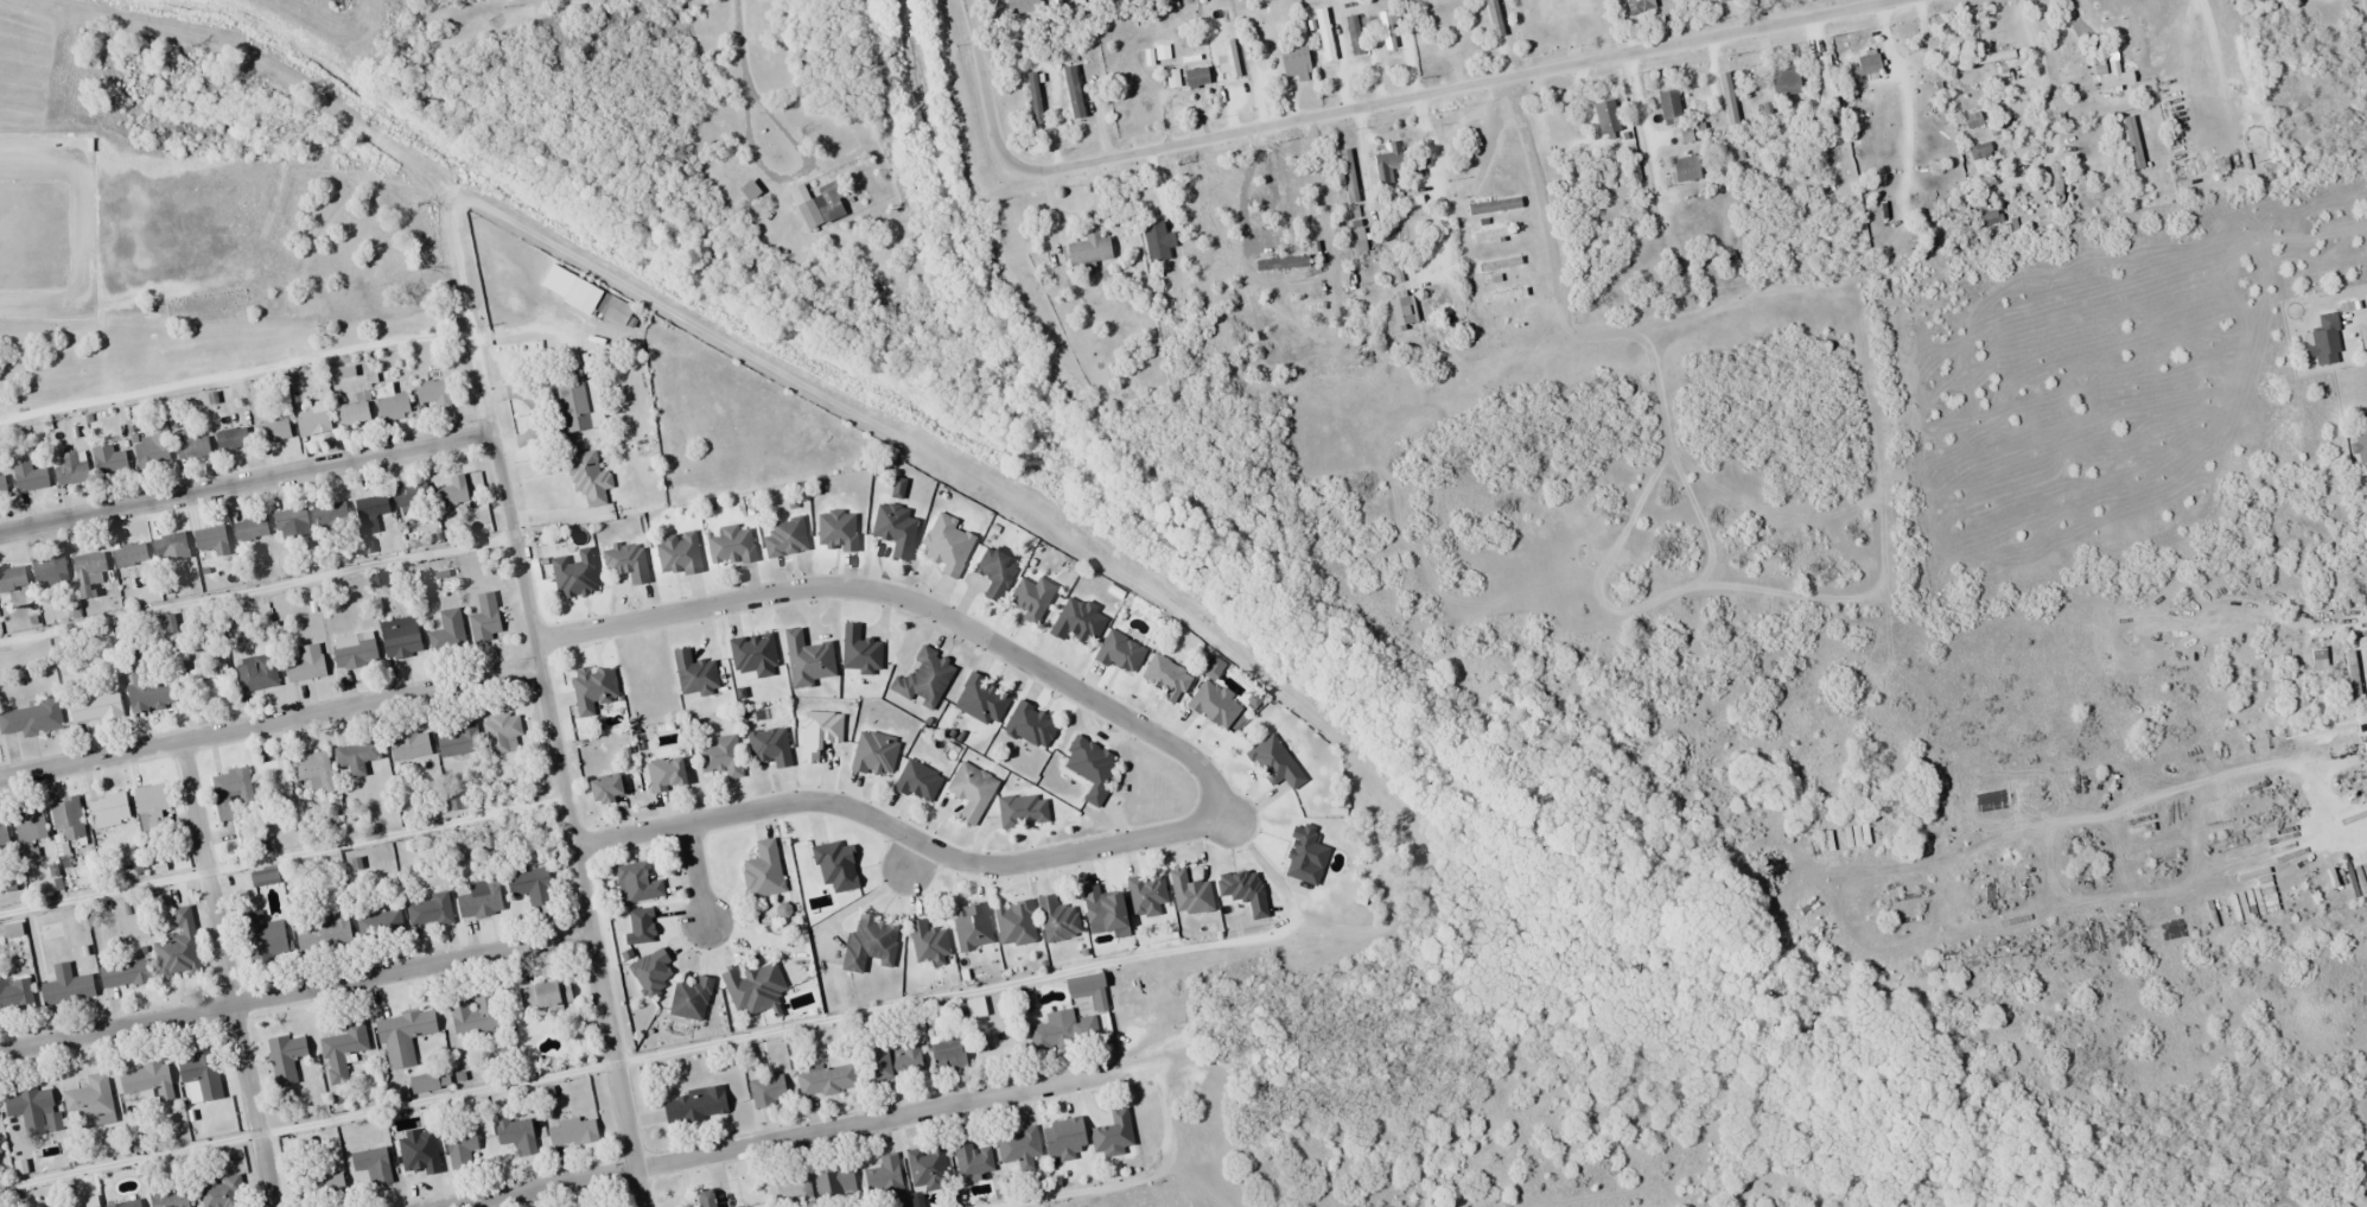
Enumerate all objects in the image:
building: (1641, 6)
road: (969, 18)
building: (2130, 27)
building: (2193, 52)
building: (2063, 61)
building: (1296, 63)
building: (1869, 64)
building: (1197, 77)
building: (1173, 80)
building: (1787, 81)
building: (1828, 81)
building: (1033, 95)
building: (1727, 97)
building: (1075, 99)
road: (1394, 101)
building: (1671, 107)
building: (1606, 117)
building: (1387, 163)
building: (1686, 169)
building: (1349, 176)
road: (1434, 184)
building: (831, 198)
building: (1494, 205)
building: (1875, 210)
building: (809, 214)
road: (83, 227)
building: (1359, 241)
building: (1158, 242)
building: (1090, 249)
building: (616, 311)
building: (1400, 315)
building: (1515, 322)
building: (2325, 341)
road: (481, 386)
building: (434, 393)
building: (390, 400)
building: (575, 407)
building: (354, 414)
building: (314, 421)
building: (274, 431)
building: (231, 439)
building: (190, 446)
building: (151, 451)
building: (109, 460)
building: (71, 468)
building: (30, 477)
building: (588, 477)
road: (244, 482)
building: (2, 485)
building: (452, 493)
building: (412, 496)
building: (373, 507)
building: (331, 514)
building: (291, 519)
building: (250, 528)
building: (897, 529)
building: (836, 531)
building: (787, 538)
building: (214, 540)
building: (171, 545)
building: (947, 545)
building: (730, 546)
building: (679, 554)
building: (129, 560)
building: (626, 563)
building: (90, 570)
building: (50, 572)
building: (995, 572)
building: (574, 574)
building: (13, 579)
road: (904, 598)
building: (4, 604)
building: (485, 618)
building: (1077, 622)
building: (447, 631)
building: (400, 637)
building: (354, 650)
building: (752, 652)
building: (859, 652)
building: (1120, 653)
building: (808, 660)
building: (304, 663)
building: (256, 673)
building: (694, 674)
building: (1165, 676)
building: (924, 680)
building: (208, 684)
building: (593, 688)
building: (151, 695)
building: (982, 700)
building: (1214, 705)
building: (95, 709)
building: (31, 719)
road: (269, 723)
building: (1031, 726)
building: (501, 732)
building: (819, 733)
building: (458, 739)
building: (409, 745)
building: (2366, 745)
building: (770, 747)
building: (874, 754)
building: (358, 756)
building: (720, 756)
building: (1275, 763)
building: (1089, 768)
building: (313, 773)
building: (668, 774)
building: (918, 782)
building: (273, 784)
building: (609, 789)
building: (230, 792)
building: (972, 792)
building: (154, 808)
building: (109, 811)
building: (1023, 811)
building: (68, 818)
road: (568, 819)
building: (30, 831)
road: (902, 833)
building: (4, 836)
building: (1306, 856)
road: (910, 859)
building: (836, 866)
building: (764, 871)
road: (694, 874)
building: (263, 877)
building: (637, 883)
building: (530, 884)
building: (1191, 895)
building: (1147, 896)
building: (479, 900)
building: (431, 911)
building: (1106, 913)
building: (1057, 920)
building: (1016, 923)
building: (380, 925)
building: (641, 927)
building: (972, 928)
building: (323, 934)
building: (263, 938)
building: (870, 944)
building: (928, 944)
building: (179, 947)
building: (653, 971)
building: (125, 973)
road: (224, 974)
building: (745, 989)
building: (66, 990)
road: (294, 992)
building: (15, 995)
building: (545, 995)
building: (691, 999)
building: (475, 1015)
building: (1064, 1031)
building: (403, 1036)
building: (343, 1052)
building: (949, 1054)
building: (286, 1059)
building: (896, 1063)
building: (201, 1078)
building: (827, 1080)
building: (146, 1082)
building: (768, 1092)
building: (89, 1098)
building: (695, 1106)
building: (33, 1110)
building: (572, 1132)
building: (1113, 1132)
building: (516, 1135)
building: (1064, 1138)
road: (783, 1139)
building: (460, 1146)
building: (1019, 1148)
building: (419, 1154)
building: (973, 1160)
building: (373, 1165)
building: (928, 1168)
building: (885, 1179)
building: (835, 1183)
building: (322, 1184)
building: (789, 1189)
building: (222, 1193)
building: (171, 1199)
building: (707, 1200)
building: (91, 1201)
building: (126, 1203)

